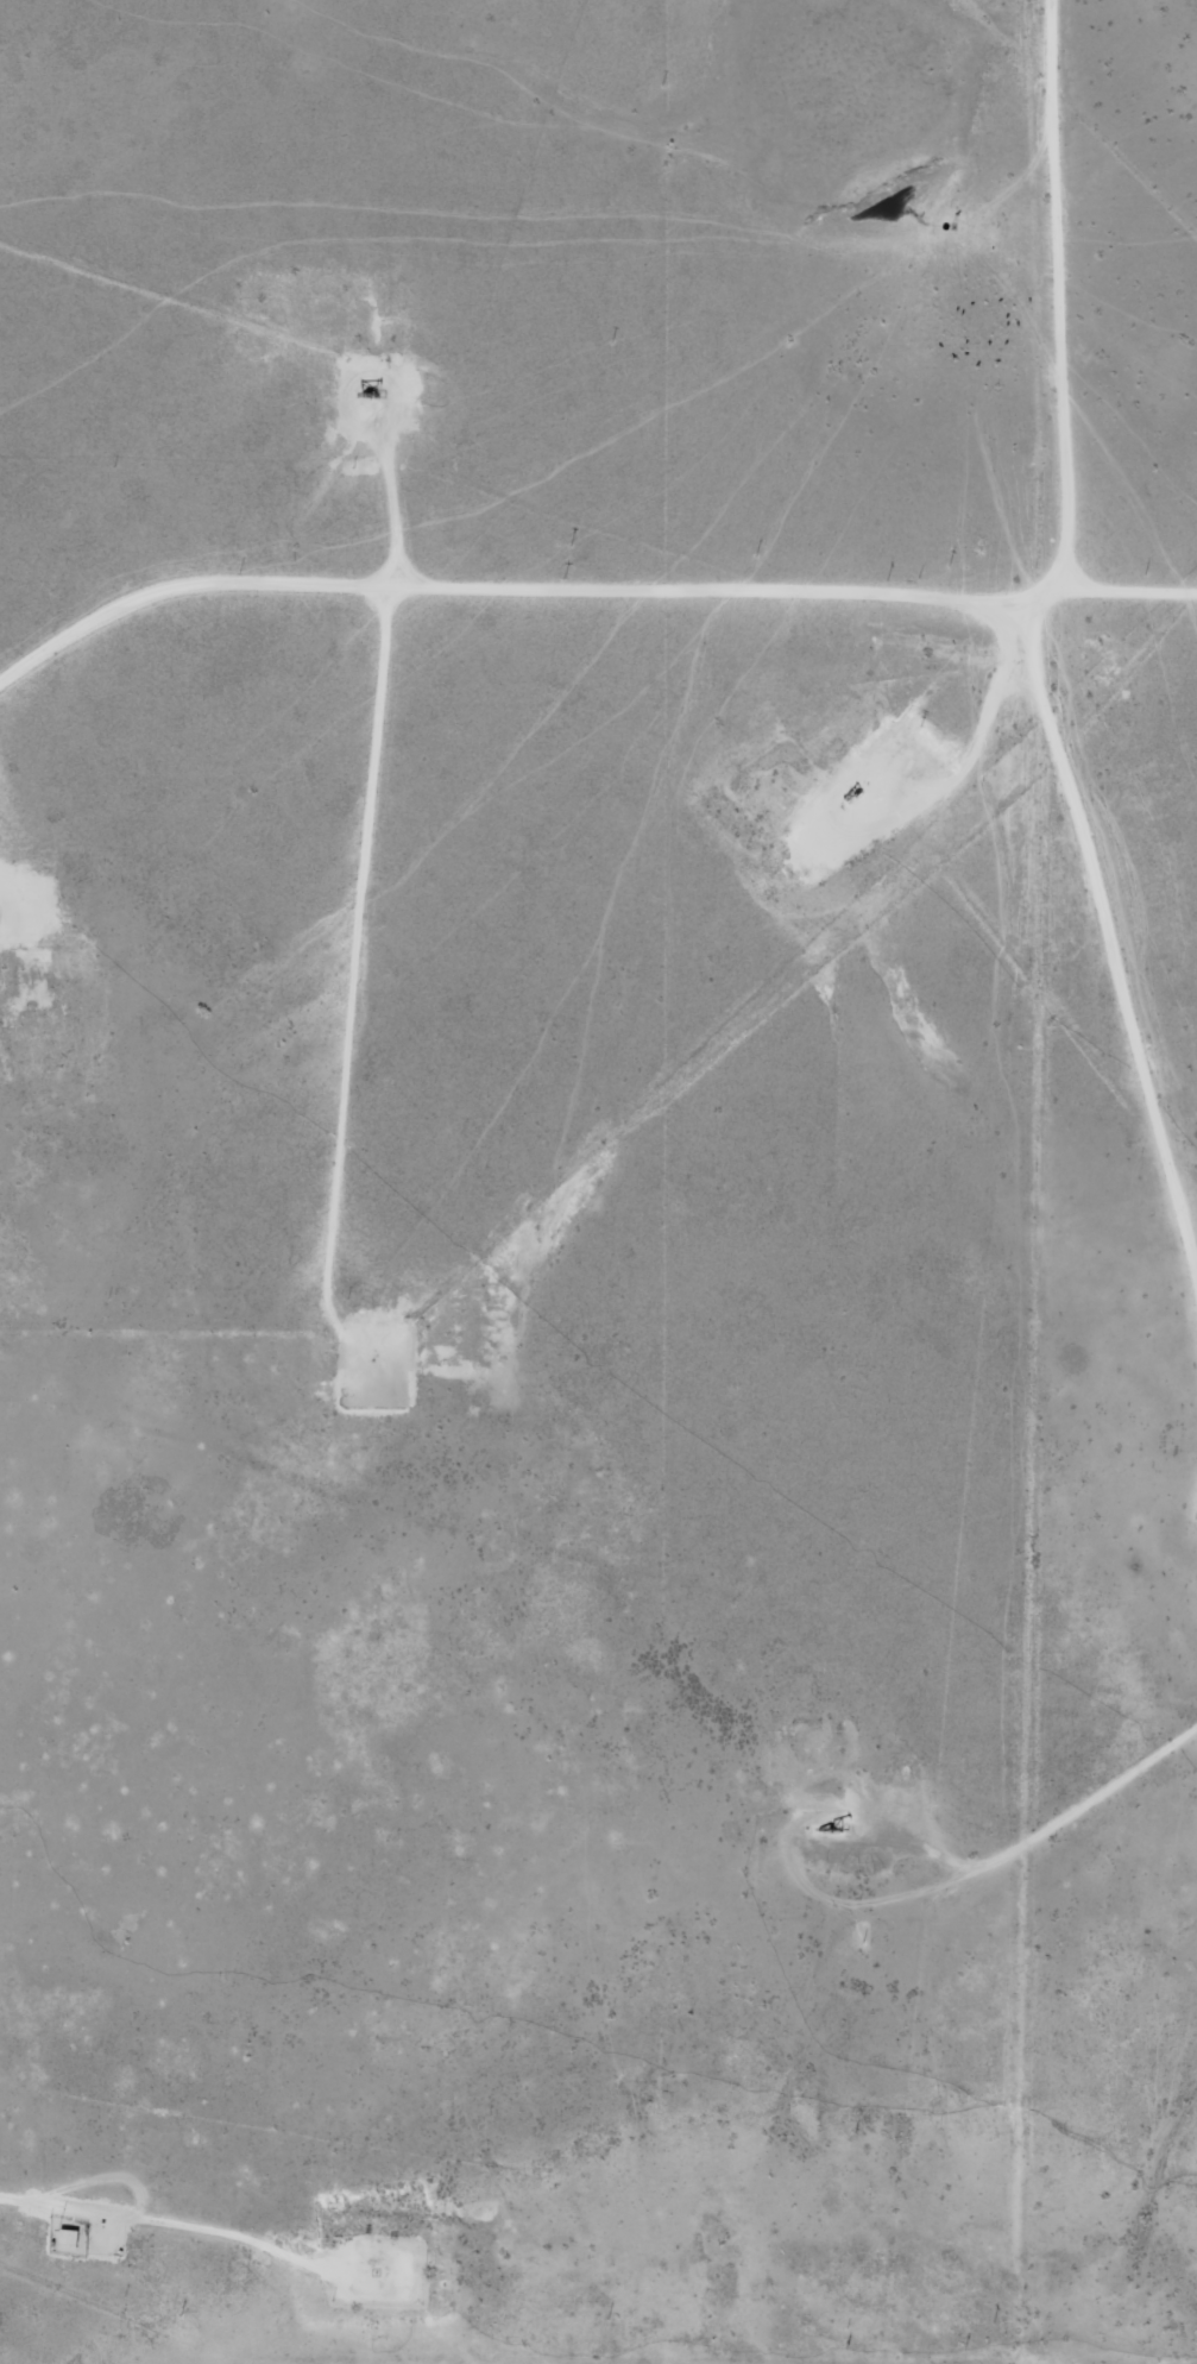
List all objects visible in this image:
road: (1073, 295)
road: (590, 586)
road: (1104, 969)
road: (166, 2247)

